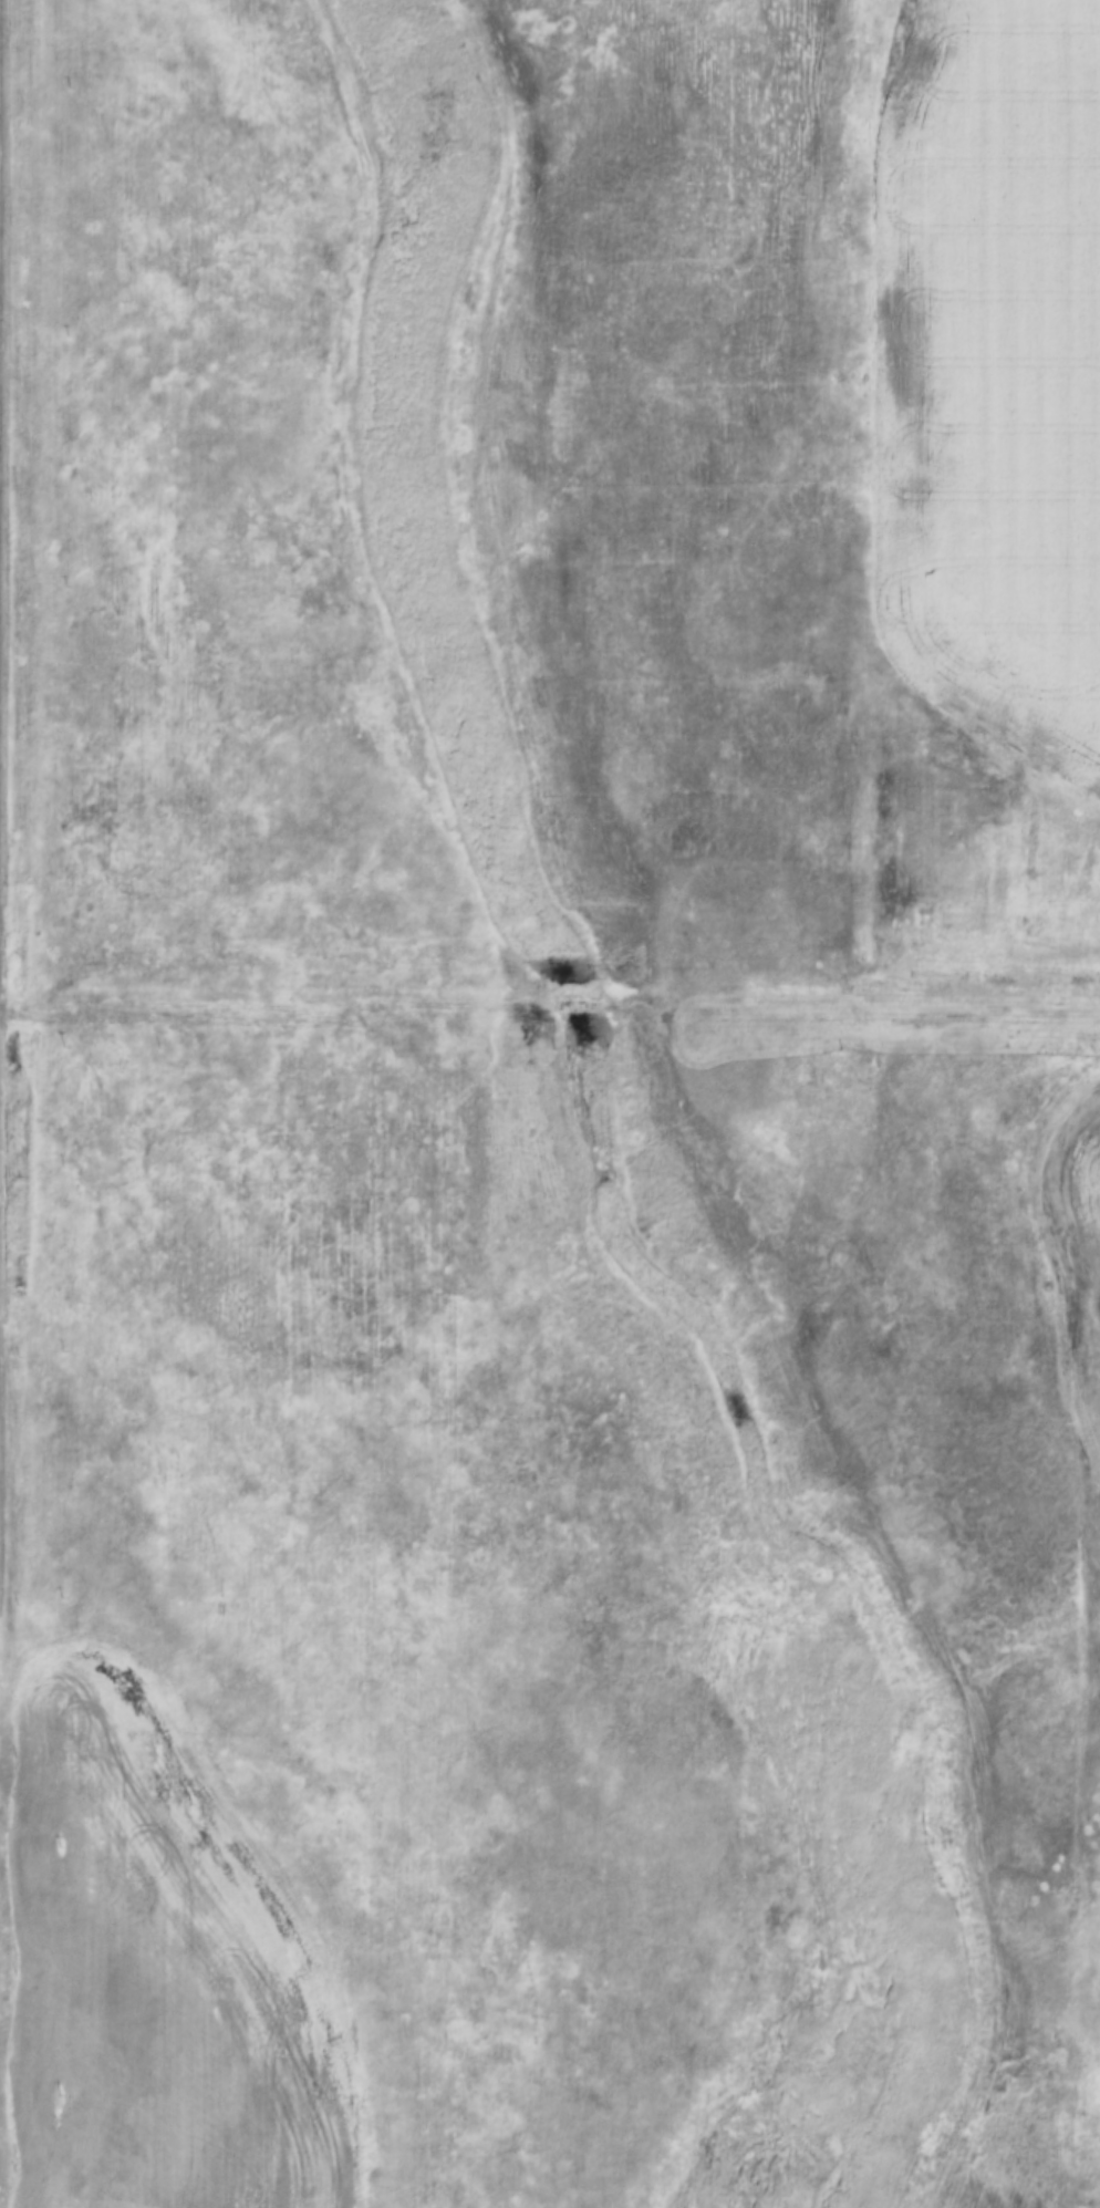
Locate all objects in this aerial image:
road: (1008, 974)

